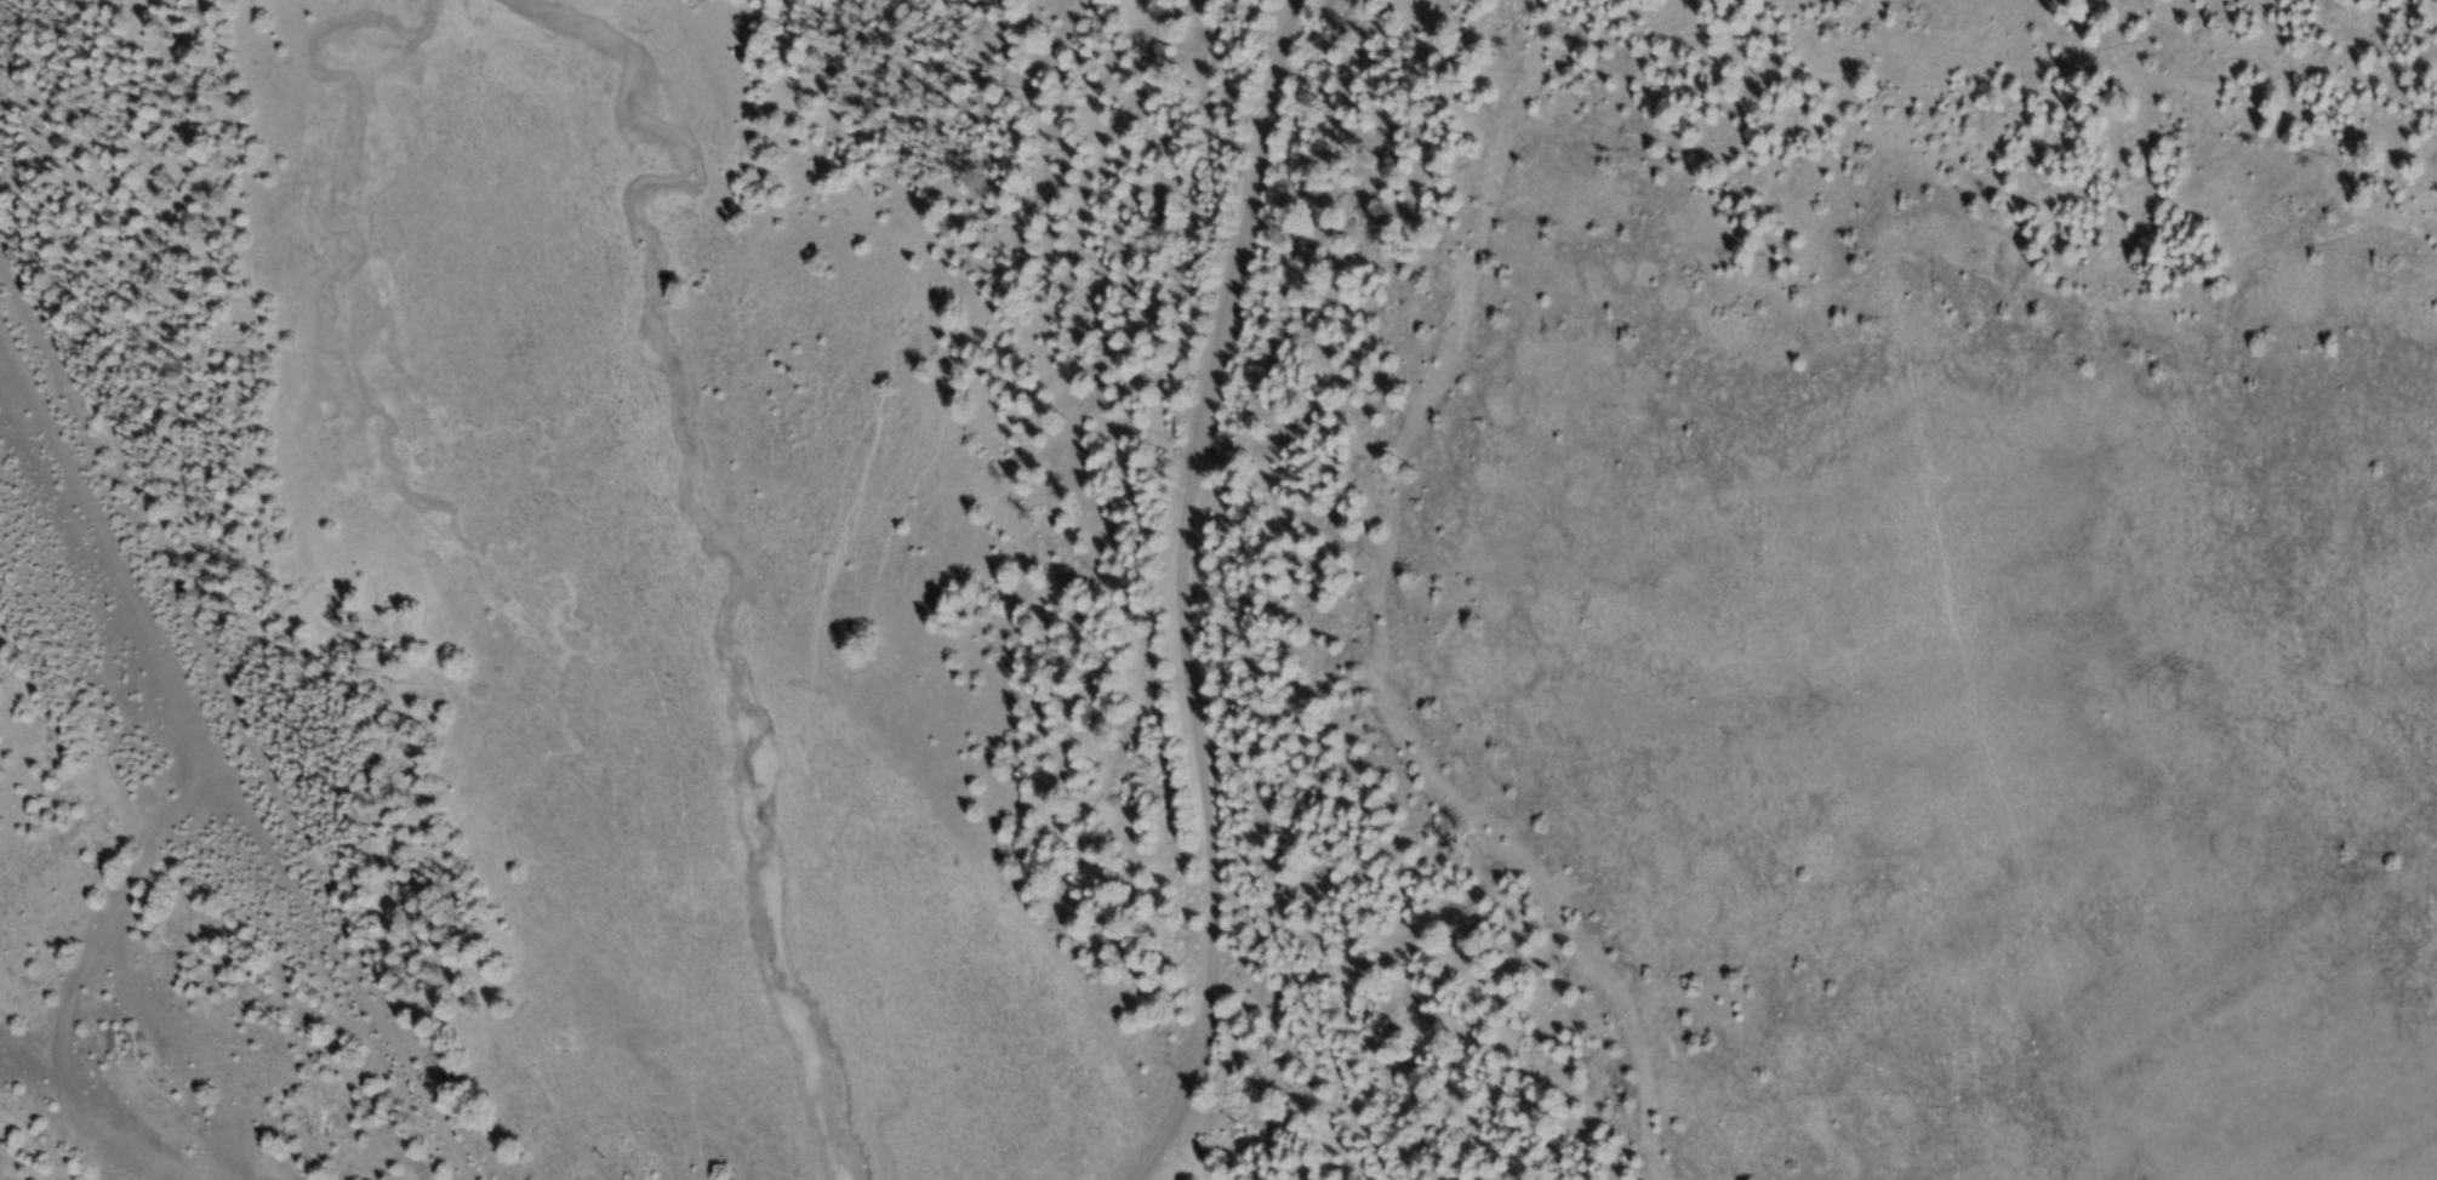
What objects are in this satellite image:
road: (1908, 121)
road: (1176, 595)
road: (226, 754)

